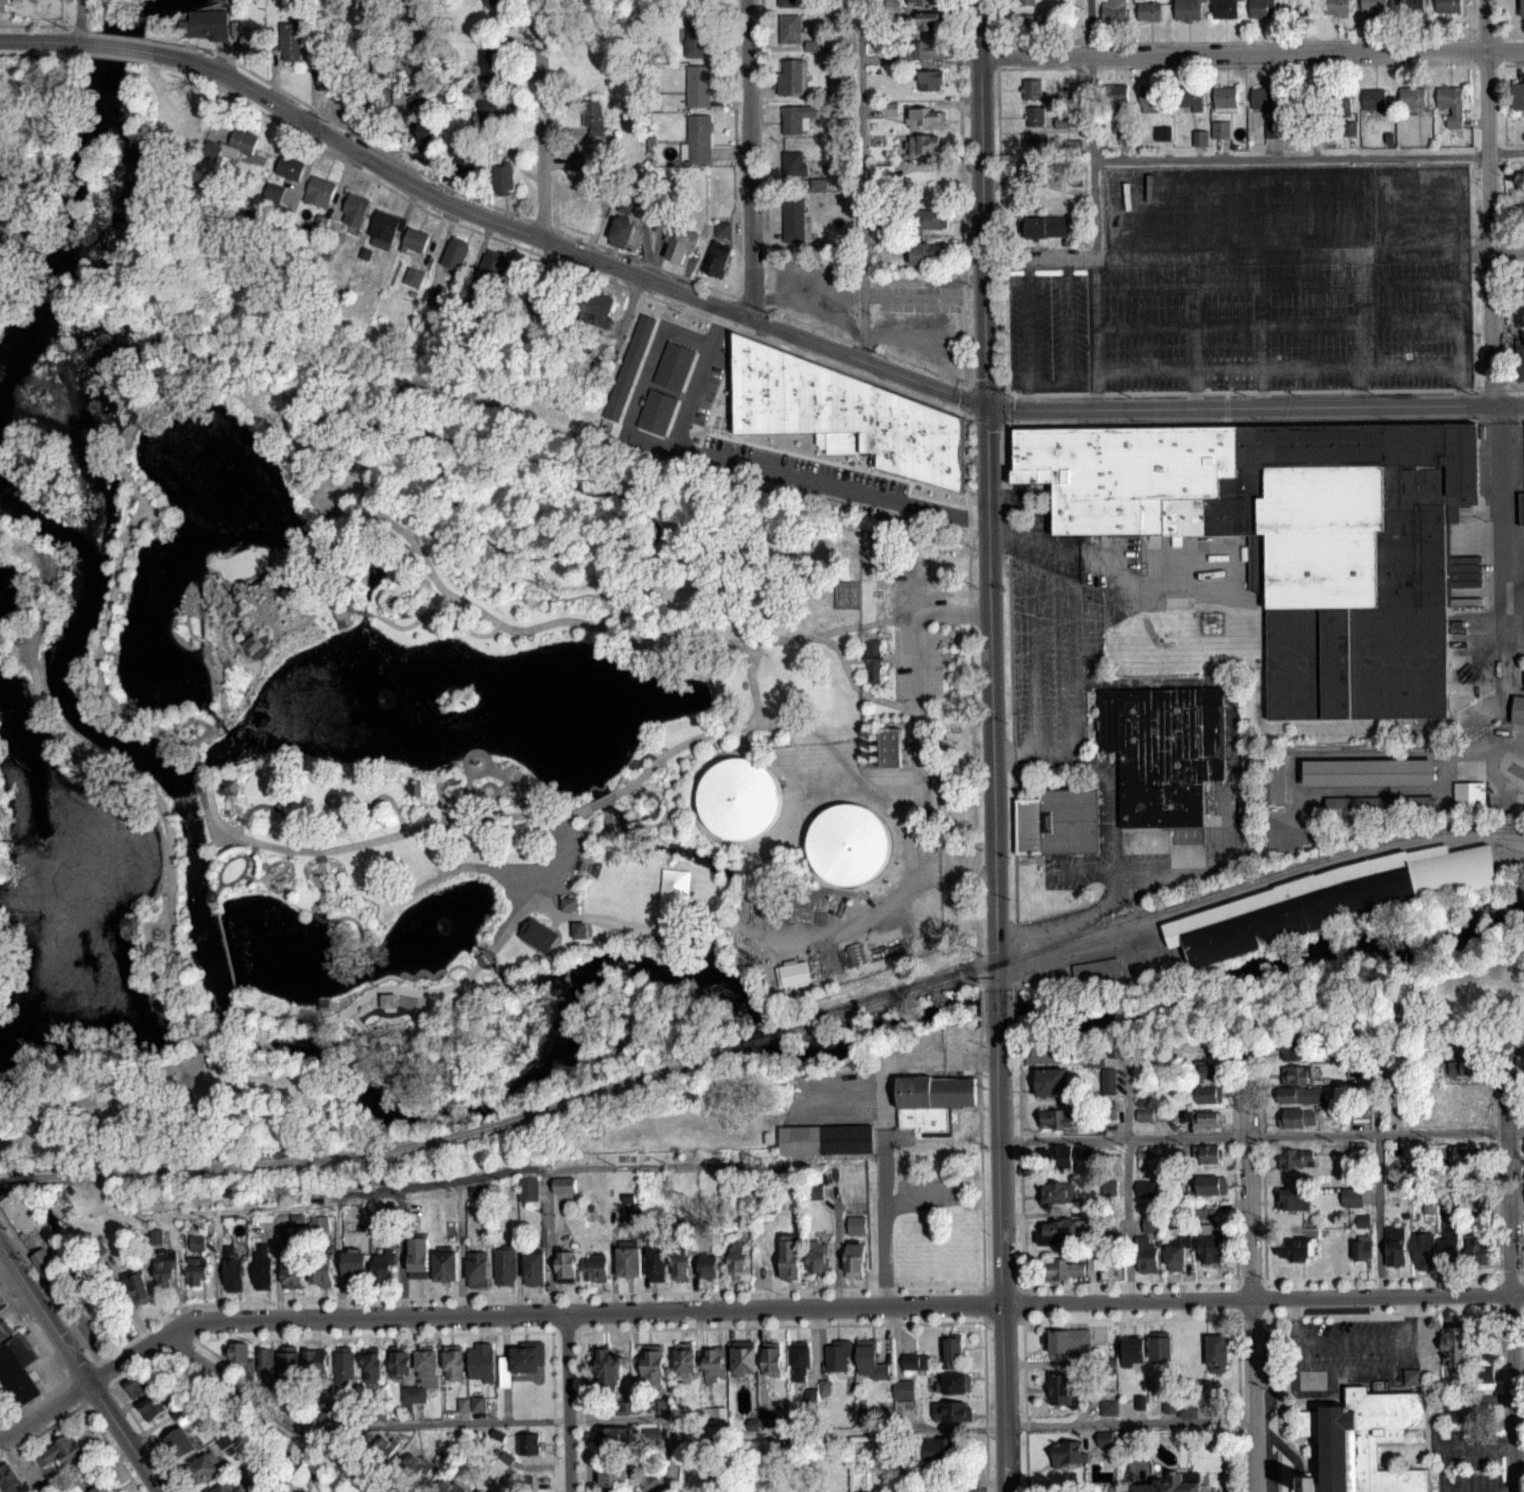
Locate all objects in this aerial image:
building: (922, 2)
building: (1026, 2)
building: (490, 3)
building: (794, 3)
building: (6, 5)
building: (1374, 5)
building: (1411, 5)
building: (1337, 6)
building: (1448, 6)
building: (1297, 8)
building: (1521, 8)
building: (1225, 9)
building: (1262, 9)
building: (1190, 10)
building: (1114, 11)
building: (1149, 12)
road: (77, 20)
building: (924, 21)
building: (1028, 24)
building: (205, 25)
building: (790, 28)
building: (696, 38)
road: (41, 40)
building: (250, 40)
road: (127, 46)
building: (292, 46)
building: (927, 50)
road: (1250, 52)
building: (490, 61)
building: (329, 76)
building: (404, 77)
building: (792, 77)
building: (931, 80)
building: (698, 86)
building: (1033, 90)
building: (1118, 96)
building: (1518, 96)
building: (1302, 97)
building: (1151, 98)
building: (1189, 98)
building: (1225, 98)
building: (1264, 98)
building: (1412, 98)
building: (1374, 99)
building: (1339, 102)
building: (491, 104)
building: (1452, 104)
building: (925, 116)
building: (1035, 116)
building: (593, 117)
building: (796, 118)
road: (540, 119)
road: (1090, 128)
building: (1220, 129)
building: (700, 138)
building: (229, 142)
building: (1036, 143)
building: (924, 144)
road: (1308, 154)
building: (464, 157)
road: (750, 158)
building: (795, 163)
building: (289, 168)
building: (1031, 172)
road: (861, 178)
building: (503, 180)
building: (926, 186)
building: (274, 191)
building: (320, 192)
road: (1488, 200)
building: (355, 211)
building: (1521, 215)
building: (584, 216)
building: (932, 219)
building: (794, 221)
building: (1046, 227)
building: (384, 229)
building: (622, 232)
building: (0, 233)
building: (415, 241)
building: (679, 245)
road: (568, 248)
road: (1507, 251)
building: (455, 253)
building: (926, 253)
road: (1235, 254)
building: (717, 259)
building: (493, 269)
building: (413, 277)
road: (1418, 280)
building: (1522, 281)
road: (1226, 282)
building: (598, 310)
road: (1419, 321)
road: (1227, 325)
parking lot: (1231, 326)
road: (1194, 330)
road: (1094, 331)
building: (937, 338)
road: (1459, 341)
road: (1360, 342)
road: (1260, 344)
building: (1520, 359)
building: (674, 364)
building: (629, 365)
road: (1276, 366)
road: (1048, 382)
traffic signals: (985, 403)
road: (1254, 406)
building: (657, 410)
building: (842, 410)
road: (1004, 460)
road: (533, 462)
road: (765, 465)
road: (966, 493)
road: (986, 493)
building: (1521, 506)
road: (339, 508)
road: (1504, 517)
road: (316, 535)
road: (481, 536)
building: (1293, 536)
road: (1031, 538)
road: (422, 560)
road: (344, 568)
road: (490, 568)
road: (601, 572)
road: (1053, 580)
road: (437, 609)
road: (362, 611)
road: (226, 631)
building: (251, 642)
road: (879, 657)
building: (871, 658)
parking lot: (917, 661)
road: (1033, 662)
road: (1074, 669)
road: (916, 683)
road: (103, 690)
building: (1517, 707)
building: (888, 745)
building: (1161, 749)
road: (1055, 751)
road: (1013, 752)
road: (197, 764)
building: (1366, 770)
building: (1270, 777)
building: (226, 785)
building: (413, 785)
building: (1468, 796)
building: (739, 798)
road: (324, 802)
building: (1378, 805)
road: (1110, 811)
road: (507, 814)
building: (1057, 819)
road: (907, 844)
building: (853, 845)
road: (553, 856)
building: (1328, 898)
building: (567, 901)
road: (1089, 912)
railway: (1147, 913)
road: (862, 919)
road: (717, 923)
building: (577, 928)
road: (634, 928)
building: (537, 933)
building: (791, 972)
building: (1096, 974)
building: (386, 998)
road: (980, 1005)
road: (997, 1005)
road: (1012, 1006)
railway: (753, 1040)
building: (1293, 1050)
building: (1044, 1053)
building: (1464, 1067)
building: (1206, 1069)
building: (1296, 1073)
building: (1109, 1079)
building: (1052, 1080)
building: (1209, 1093)
building: (1301, 1094)
building: (930, 1099)
building: (1054, 1117)
building: (1298, 1117)
building: (1206, 1119)
road: (883, 1128)
road: (1261, 1134)
building: (824, 1138)
railway: (386, 1149)
building: (1207, 1153)
building: (1461, 1154)
building: (1062, 1155)
building: (1299, 1157)
road: (1232, 1164)
road: (1261, 1164)
road: (1378, 1173)
road: (1125, 1175)
railway: (18, 1177)
railway: (3, 1178)
building: (565, 1184)
building: (1209, 1185)
road: (405, 1186)
building: (529, 1188)
road: (548, 1189)
building: (1058, 1191)
building: (1353, 1195)
building: (1293, 1198)
building: (321, 1224)
building: (857, 1224)
building: (1059, 1230)
building: (197, 1241)
building: (1302, 1244)
building: (1450, 1245)
building: (1210, 1248)
building: (1364, 1248)
road: (400, 1251)
building: (1478, 1252)
road: (835, 1253)
building: (419, 1254)
road: (1020, 1257)
building: (1176, 1257)
building: (630, 1258)
building: (819, 1258)
building: (855, 1258)
road: (981, 1258)
road: (1000, 1258)
building: (791, 1259)
building: (1148, 1259)
building: (738, 1261)
building: (322, 1263)
building: (445, 1263)
road: (1499, 1264)
road: (1508, 1264)
building: (356, 1265)
building: (384, 1265)
building: (506, 1265)
building: (657, 1265)
building: (682, 1265)
building: (263, 1266)
building: (565, 1266)
road: (613, 1266)
building: (708, 1266)
building: (233, 1267)
building: (597, 1267)
building: (167, 1268)
building: (478, 1268)
building: (535, 1269)
building: (1065, 1269)
building: (197, 1270)
road: (1249, 1271)
building: (292, 1273)
road: (277, 1274)
road: (1393, 1275)
road: (218, 1278)
road: (694, 1279)
road: (1249, 1279)
building: (56, 1282)
building: (135, 1284)
road: (47, 1288)
road: (655, 1291)
road: (156, 1295)
road: (1264, 1296)
road: (1235, 1297)
road: (1263, 1297)
road: (131, 1309)
road: (1519, 1310)
road: (1394, 1312)
road: (484, 1313)
road: (1249, 1315)
road: (665, 1327)
building: (1068, 1341)
building: (1427, 1344)
building: (1161, 1345)
building: (953, 1347)
building: (1454, 1347)
building: (1134, 1349)
building: (1217, 1351)
building: (239, 1353)
building: (801, 1355)
building: (528, 1356)
building: (839, 1356)
building: (685, 1358)
building: (757, 1359)
building: (266, 1360)
building: (454, 1360)
building: (482, 1360)
building: (870, 1360)
building: (317, 1361)
building: (428, 1361)
building: (915, 1361)
building: (289, 1362)
building: (400, 1363)
building: (653, 1363)
building: (373, 1364)
building: (345, 1365)
building: (713, 1365)
building: (16, 1367)
building: (1109, 1367)
road: (81, 1368)
building: (607, 1369)
road: (102, 1372)
road: (1347, 1375)
building: (957, 1382)
road: (68, 1386)
building: (1061, 1389)
building: (1, 1400)
road: (566, 1401)
road: (1237, 1403)
road: (1275, 1403)
building: (665, 1405)
building: (154, 1407)
road: (580, 1410)
building: (953, 1410)
road: (551, 1411)
road: (275, 1412)
road: (1433, 1412)
road: (302, 1415)
road: (56, 1419)
road: (515, 1419)
road: (1054, 1424)
building: (614, 1436)
road: (146, 1437)
building: (1360, 1440)
building: (181, 1442)
building: (529, 1444)
road: (1474, 1444)
building: (938, 1448)
building: (62, 1452)
building: (1069, 1452)
building: (204, 1468)
building: (417, 1468)
building: (613, 1475)
building: (8, 1479)
building: (1166, 1485)
building: (104, 1488)
building: (223, 1488)
road: (1477, 1489)
building: (482, 1490)

